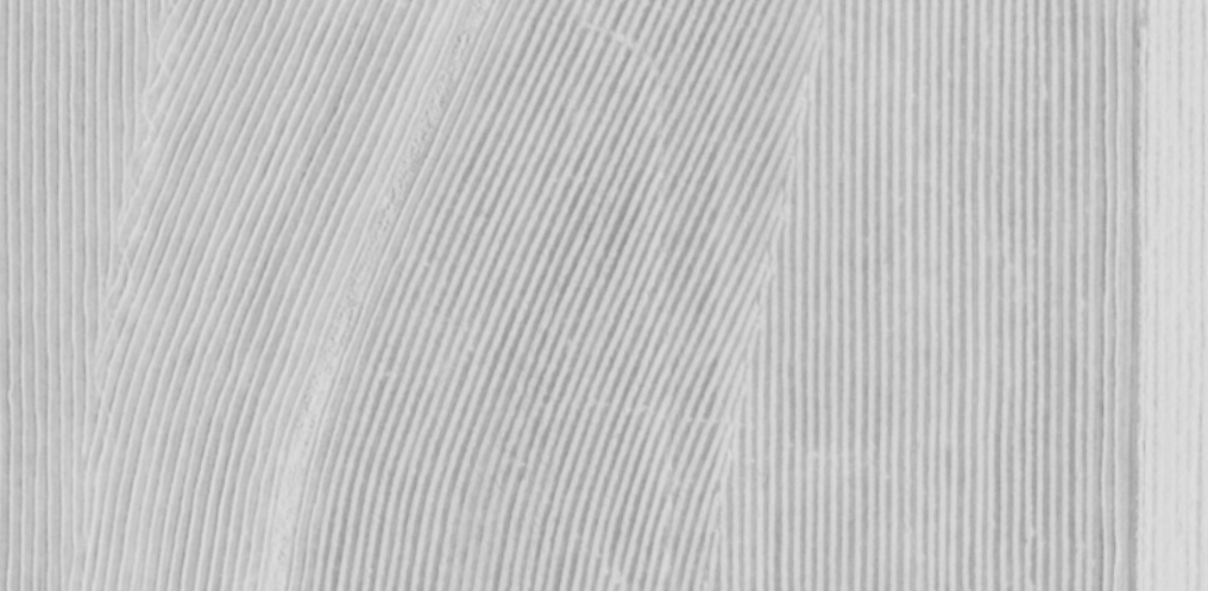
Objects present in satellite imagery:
crop: (604, 295)

